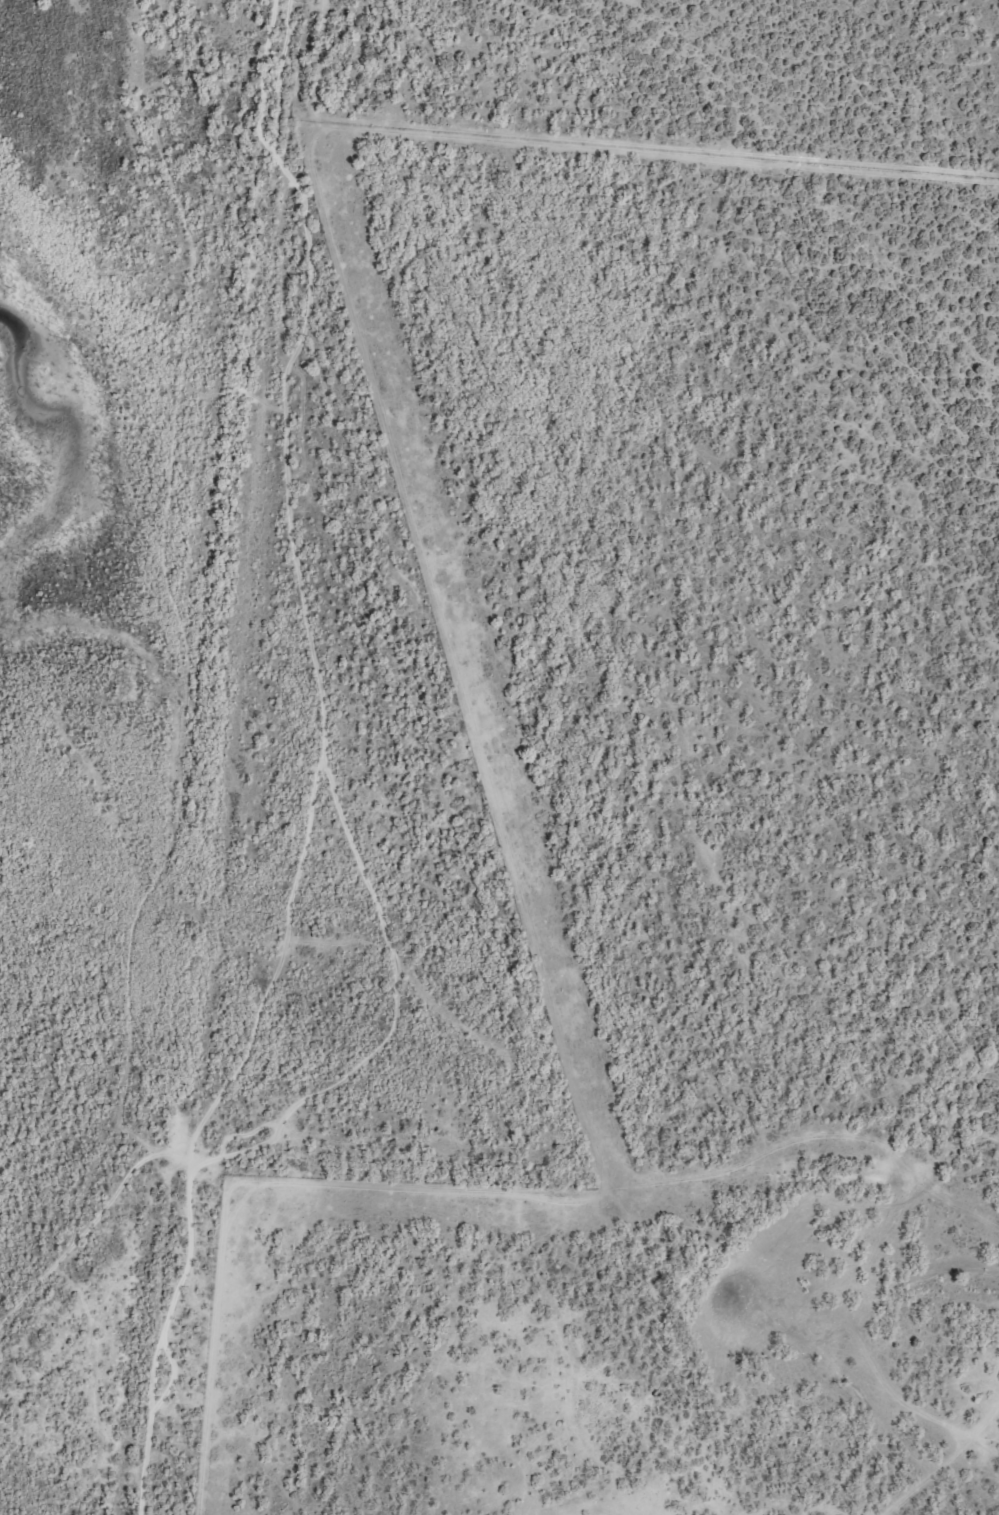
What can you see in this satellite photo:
road: (449, 660)
railway: (208, 757)
road: (943, 1461)
road: (576, 1509)

